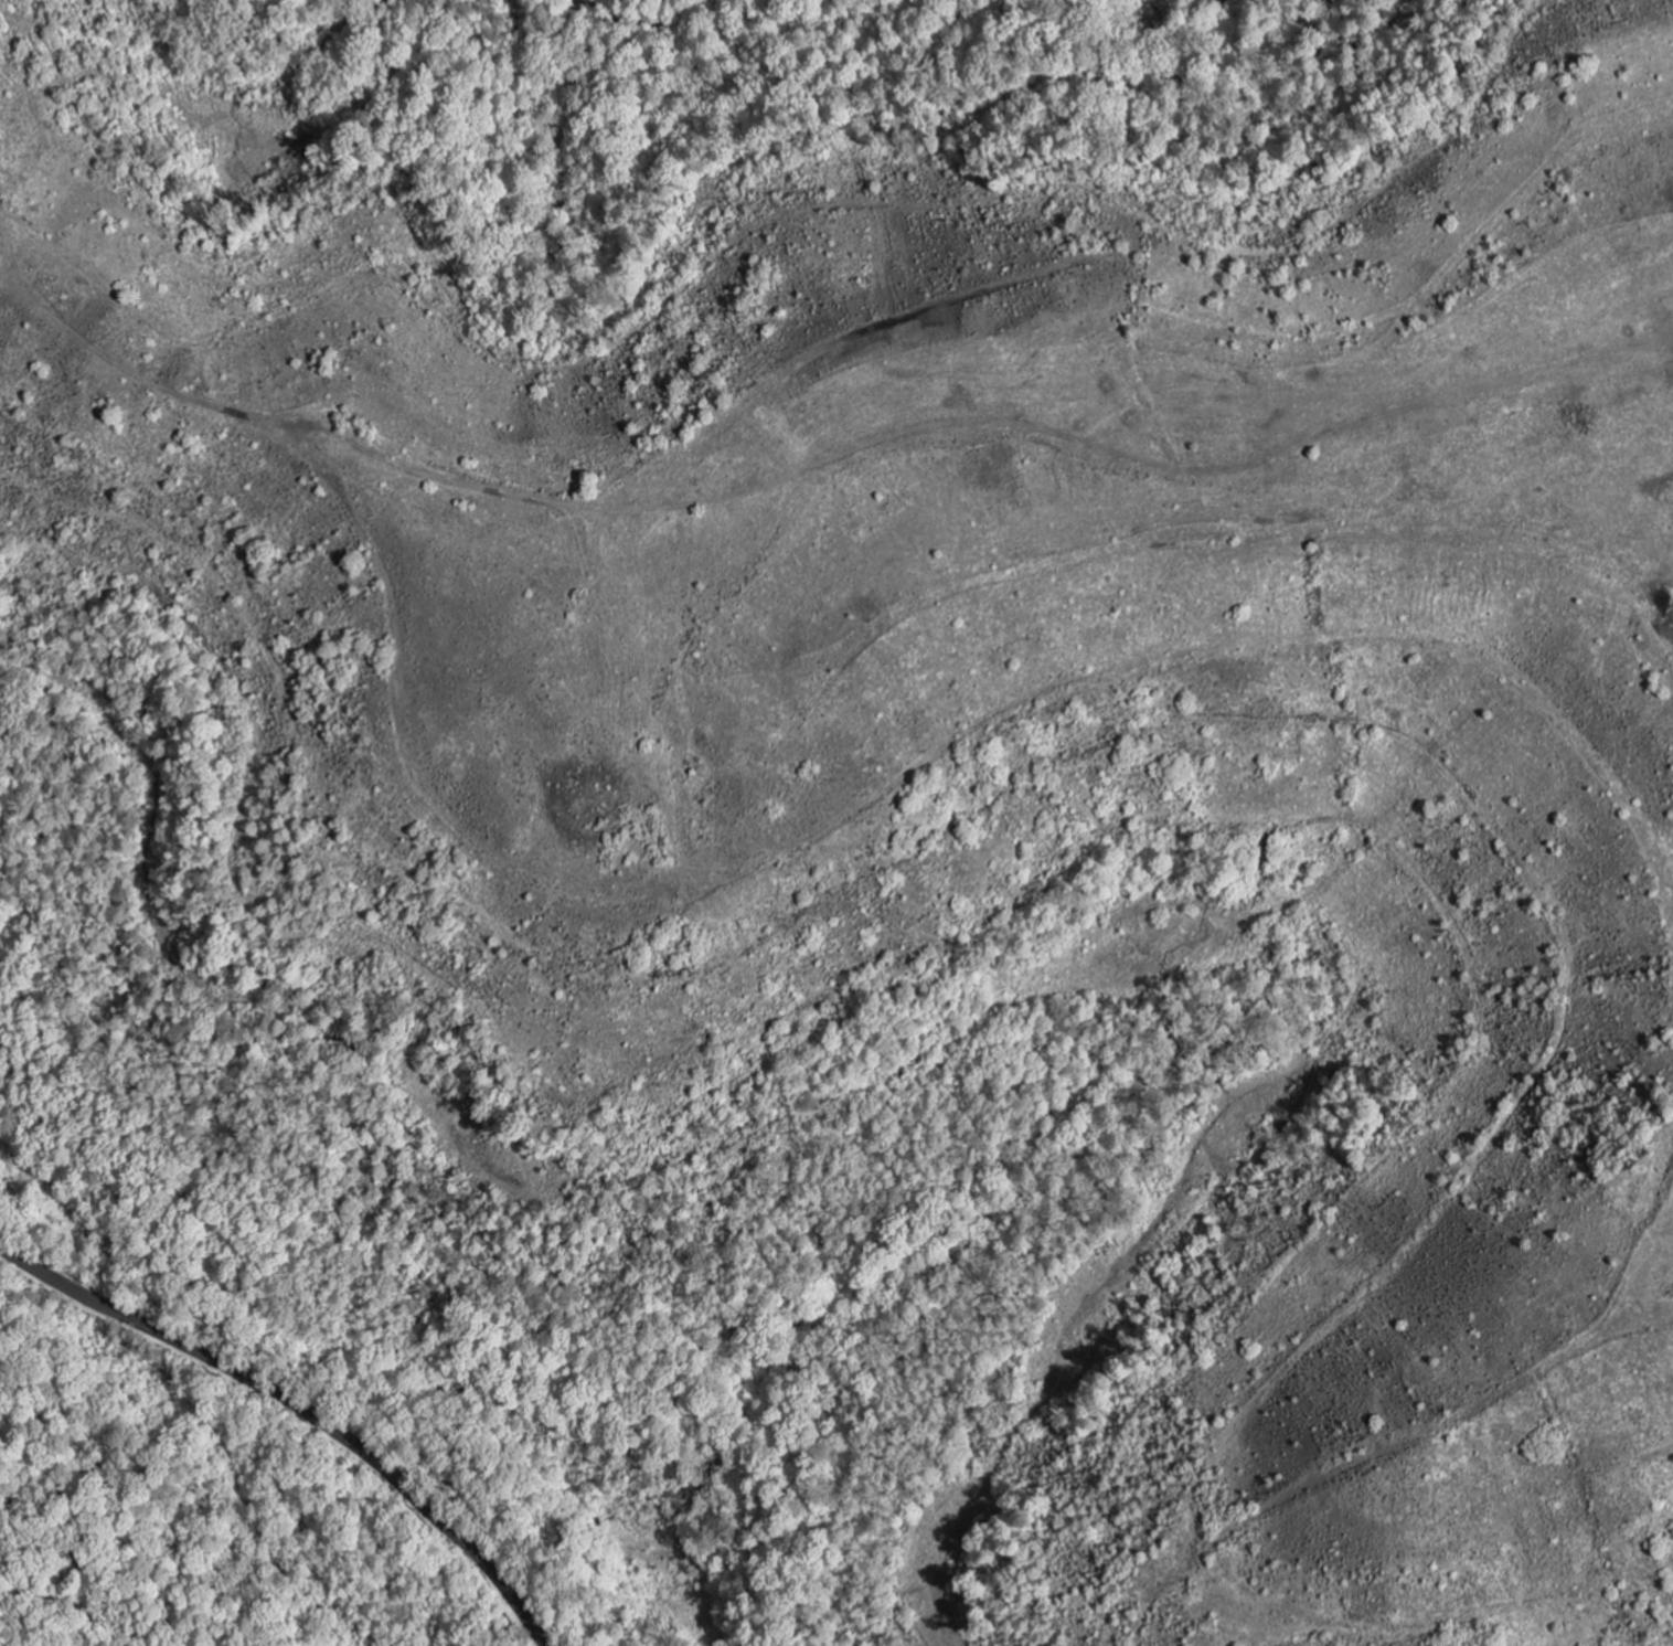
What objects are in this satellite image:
road: (303, 1408)

